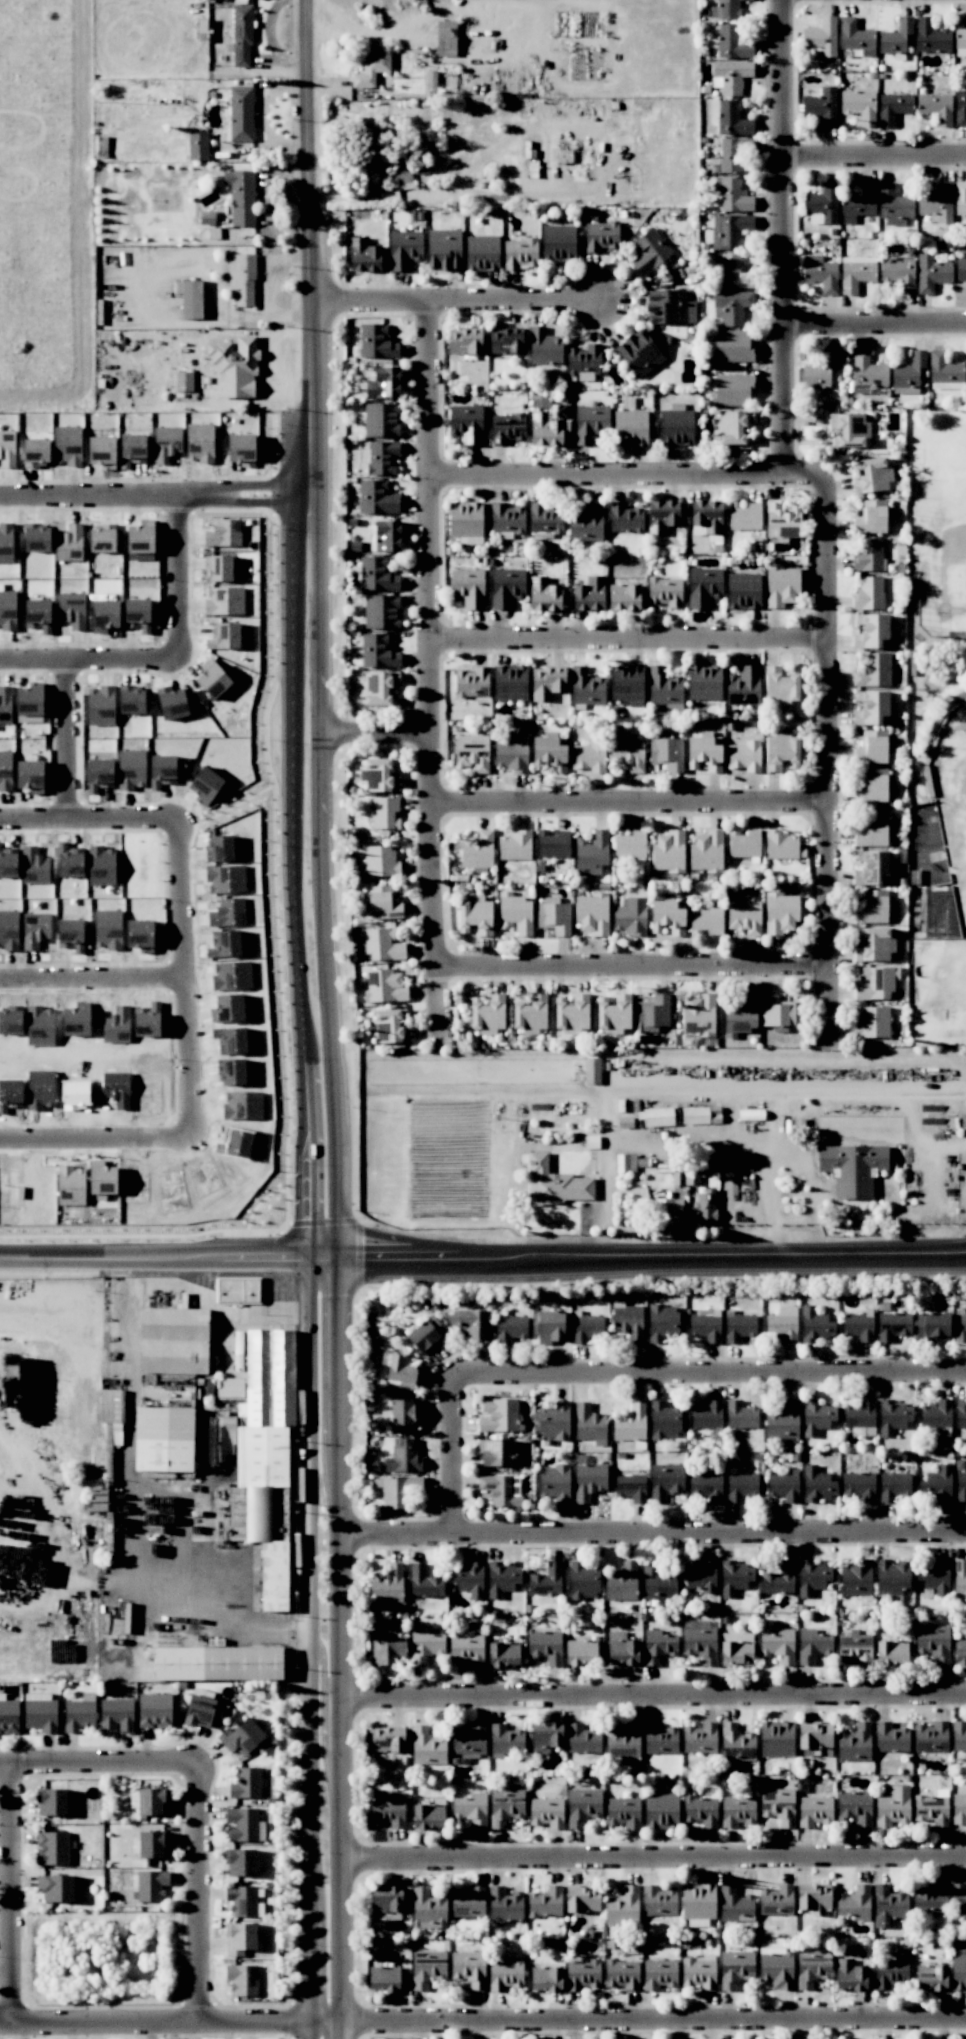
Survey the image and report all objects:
building: (827, 27)
building: (852, 34)
building: (242, 36)
building: (446, 38)
building: (732, 43)
building: (371, 69)
building: (731, 76)
building: (821, 106)
building: (859, 106)
building: (892, 107)
building: (960, 108)
building: (241, 113)
building: (732, 119)
building: (197, 146)
building: (733, 153)
road: (875, 158)
building: (402, 174)
building: (733, 196)
building: (240, 197)
building: (960, 197)
building: (732, 230)
building: (559, 231)
road: (785, 240)
building: (651, 247)
building: (525, 253)
road: (309, 256)
building: (734, 273)
building: (898, 273)
building: (855, 274)
building: (821, 275)
building: (243, 280)
building: (191, 299)
road: (459, 300)
building: (733, 305)
road: (876, 322)
building: (862, 358)
building: (234, 367)
building: (819, 371)
building: (184, 380)
building: (590, 425)
building: (732, 426)
building: (507, 429)
building: (849, 429)
building: (382, 457)
building: (7, 463)
building: (872, 475)
road: (627, 478)
road: (226, 487)
road: (113, 489)
road: (301, 489)
building: (377, 497)
building: (871, 517)
building: (388, 536)
building: (869, 553)
building: (382, 582)
building: (785, 586)
building: (703, 587)
building: (672, 595)
building: (381, 611)
building: (875, 633)
road: (627, 643)
building: (375, 650)
road: (172, 652)
building: (873, 670)
road: (430, 672)
building: (790, 695)
building: (869, 717)
road: (375, 731)
road: (74, 735)
building: (781, 751)
building: (472, 752)
building: (627, 753)
building: (751, 755)
building: (510, 756)
building: (589, 756)
road: (825, 760)
road: (631, 806)
building: (385, 823)
building: (787, 847)
building: (477, 850)
building: (380, 861)
building: (705, 861)
road: (322, 873)
road: (298, 902)
building: (874, 907)
building: (780, 912)
building: (227, 913)
building: (475, 915)
building: (744, 917)
building: (707, 920)
building: (107, 929)
building: (35, 930)
building: (69, 930)
building: (139, 933)
building: (227, 942)
building: (874, 944)
road: (632, 970)
road: (96, 974)
road: (192, 979)
building: (876, 983)
building: (387, 990)
building: (778, 1013)
building: (488, 1015)
building: (530, 1015)
building: (571, 1016)
building: (614, 1017)
building: (873, 1021)
building: (592, 1070)
building: (658, 1116)
road: (746, 1136)
building: (624, 1163)
building: (852, 1168)
building: (685, 1178)
building: (554, 1183)
road: (816, 1183)
building: (705, 1206)
building: (671, 1217)
road: (643, 1255)
road: (160, 1256)
building: (237, 1289)
building: (858, 1328)
building: (173, 1339)
road: (335, 1366)
road: (708, 1376)
building: (112, 1405)
building: (779, 1423)
road: (452, 1456)
building: (404, 1457)
building: (261, 1474)
building: (859, 1486)
building: (894, 1486)
building: (397, 1490)
road: (650, 1535)
building: (658, 1582)
road: (335, 1598)
road: (213, 1612)
building: (931, 1640)
building: (779, 1645)
building: (545, 1646)
building: (817, 1647)
building: (426, 1648)
building: (387, 1650)
road: (312, 1666)
road: (324, 1671)
road: (651, 1696)
building: (737, 1740)
road: (335, 1748)
road: (97, 1763)
building: (470, 1808)
building: (237, 1833)
road: (650, 1858)
road: (198, 1892)
road: (11, 1893)
building: (930, 1899)
building: (427, 1900)
building: (736, 1906)
road: (334, 1919)
building: (469, 1967)
building: (427, 1968)
building: (890, 1972)
building: (659, 1974)
building: (383, 1979)
road: (650, 2021)
road: (167, 2022)

